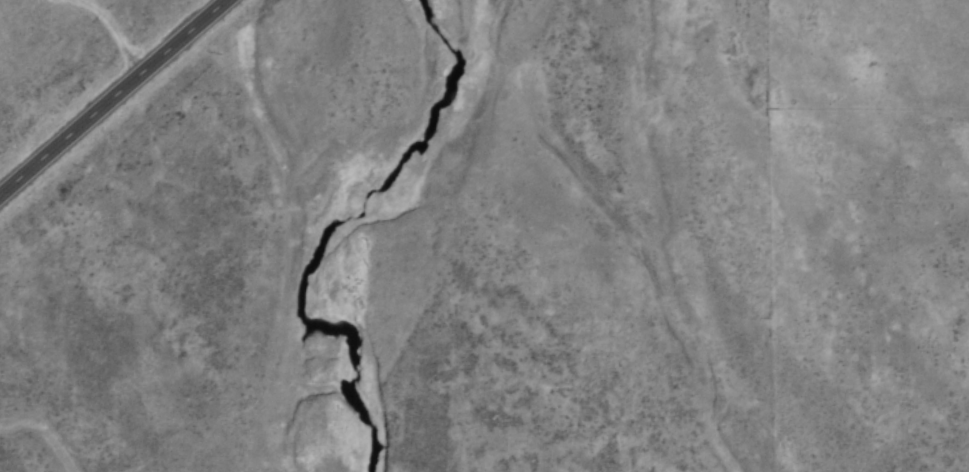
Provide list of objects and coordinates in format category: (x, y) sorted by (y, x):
road: (121, 33)
road: (111, 97)

